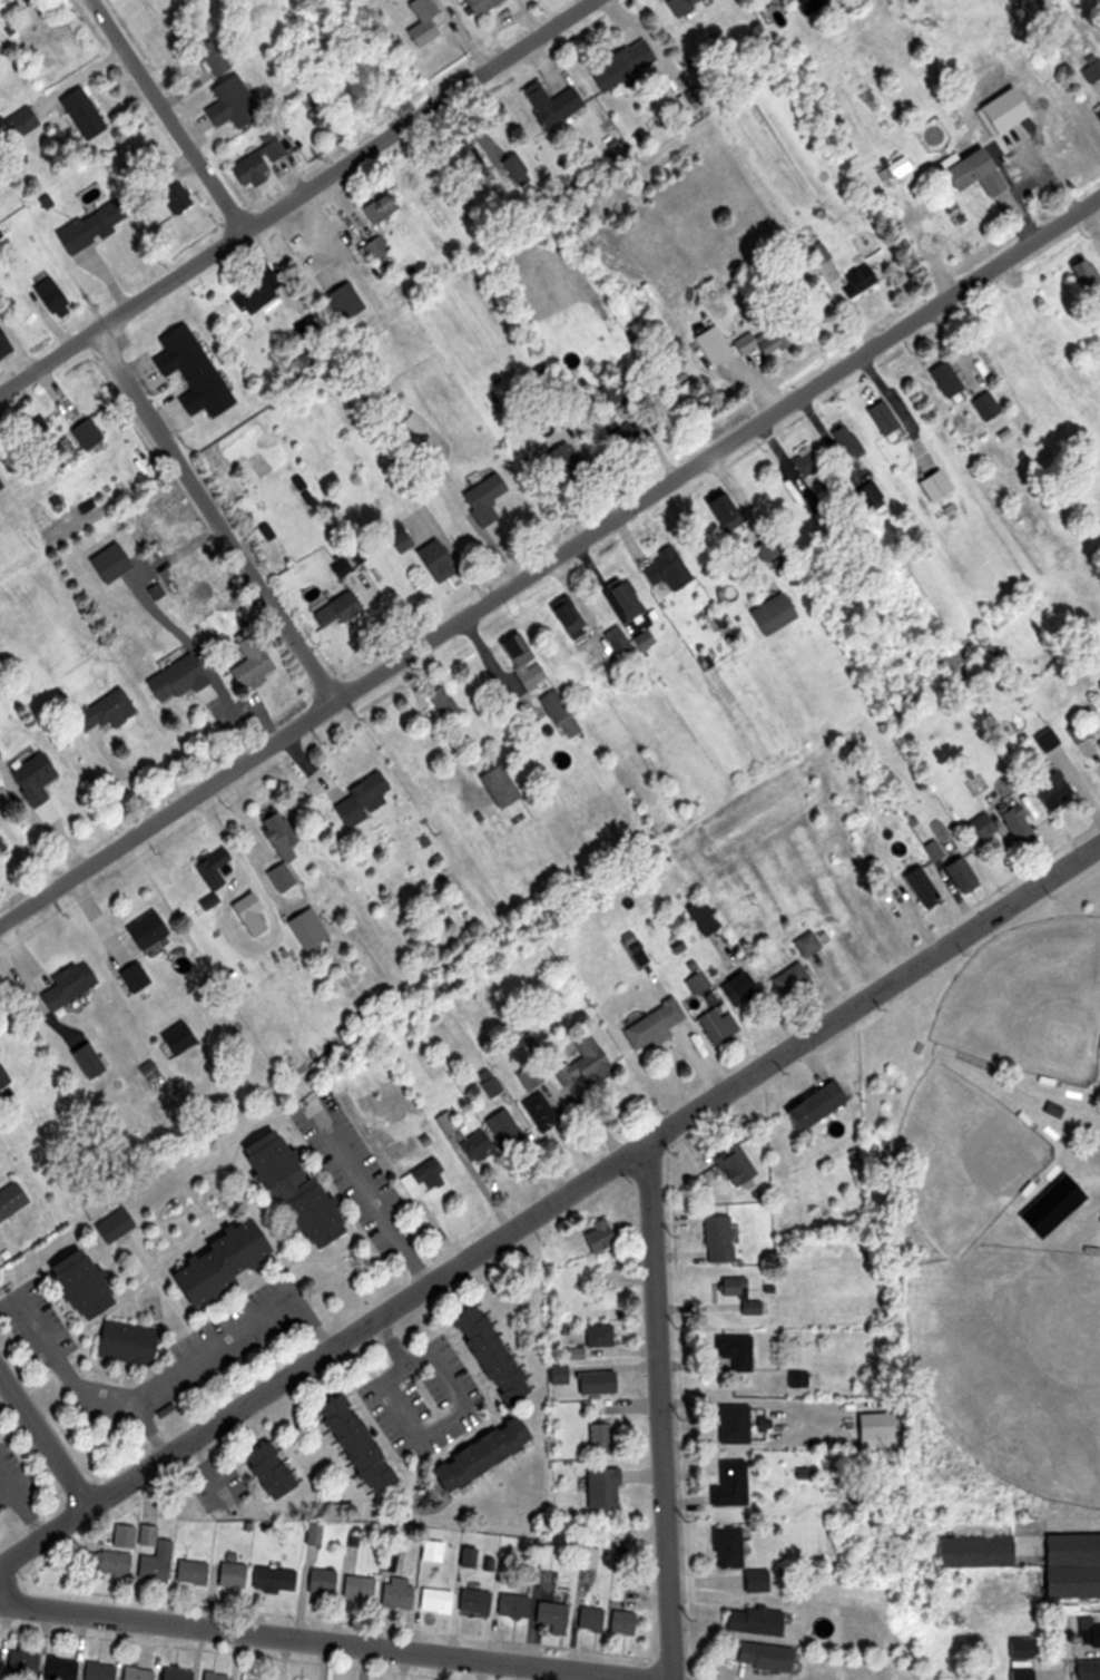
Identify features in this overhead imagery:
building: (28, 1)
building: (484, 6)
building: (681, 9)
building: (430, 23)
building: (216, 55)
building: (620, 64)
building: (1091, 69)
building: (237, 101)
building: (548, 102)
building: (87, 113)
road: (168, 115)
building: (1096, 118)
building: (24, 121)
building: (463, 153)
building: (262, 160)
building: (960, 168)
road: (294, 195)
building: (180, 197)
building: (386, 207)
building: (97, 224)
building: (923, 235)
building: (379, 246)
building: (1082, 276)
building: (854, 280)
building: (53, 292)
building: (249, 296)
building: (348, 301)
building: (310, 326)
building: (759, 341)
building: (6, 342)
building: (709, 343)
building: (197, 370)
building: (942, 379)
building: (982, 407)
building: (91, 432)
building: (622, 436)
building: (49, 440)
building: (845, 442)
building: (805, 463)
building: (569, 467)
building: (3, 481)
building: (868, 492)
building: (489, 498)
building: (719, 509)
road: (216, 515)
building: (765, 550)
road: (549, 557)
building: (442, 558)
building: (667, 573)
building: (623, 599)
building: (678, 614)
building: (767, 614)
building: (563, 616)
building: (615, 641)
building: (640, 641)
building: (528, 661)
building: (257, 663)
building: (183, 677)
building: (445, 702)
building: (114, 709)
building: (564, 713)
building: (1074, 732)
building: (1044, 739)
building: (1098, 745)
building: (40, 778)
building: (505, 785)
building: (1052, 788)
building: (366, 800)
building: (1014, 821)
building: (978, 828)
building: (4, 843)
building: (284, 847)
building: (217, 867)
building: (954, 875)
building: (917, 883)
building: (253, 908)
building: (708, 917)
building: (153, 929)
building: (812, 942)
building: (139, 977)
building: (796, 980)
building: (701, 983)
building: (75, 984)
building: (744, 988)
road: (873, 989)
park: (1029, 1008)
building: (658, 1023)
building: (721, 1026)
building: (181, 1038)
building: (0, 1041)
building: (587, 1061)
building: (151, 1068)
building: (533, 1075)
building: (4, 1077)
building: (492, 1083)
building: (825, 1104)
building: (1051, 1110)
building: (544, 1111)
building: (450, 1122)
building: (508, 1127)
building: (479, 1145)
building: (741, 1165)
park: (960, 1165)
building: (426, 1176)
building: (1063, 1188)
building: (305, 1189)
road: (371, 1199)
building: (13, 1200)
building: (1098, 1210)
park: (993, 1217)
building: (119, 1223)
building: (605, 1237)
building: (723, 1239)
building: (234, 1260)
building: (91, 1285)
building: (737, 1286)
building: (754, 1307)
building: (605, 1336)
building: (134, 1341)
road: (212, 1349)
road: (321, 1349)
building: (740, 1350)
building: (501, 1355)
road: (58, 1360)
park: (1014, 1370)
building: (566, 1374)
building: (602, 1383)
road: (660, 1408)
road: (465, 1409)
building: (739, 1423)
building: (883, 1430)
building: (606, 1436)
road: (43, 1438)
building: (365, 1443)
building: (491, 1454)
building: (279, 1469)
building: (735, 1483)
building: (609, 1487)
building: (0, 1527)
building: (733, 1545)
building: (1074, 1549)
building: (436, 1550)
building: (982, 1552)
building: (110, 1561)
building: (160, 1562)
building: (196, 1571)
building: (236, 1573)
building: (277, 1579)
building: (762, 1579)
building: (326, 1580)
building: (1074, 1582)
building: (363, 1586)
building: (402, 1592)
building: (440, 1599)
building: (479, 1600)
building: (518, 1605)
building: (558, 1615)
building: (596, 1618)
building: (760, 1620)
building: (628, 1621)
building: (1090, 1628)
road: (335, 1641)
building: (770, 1655)
building: (1, 1657)
building: (1025, 1658)
building: (27, 1661)
building: (65, 1668)
building: (1089, 1670)
building: (102, 1671)
building: (141, 1673)
building: (181, 1673)
building: (218, 1676)

